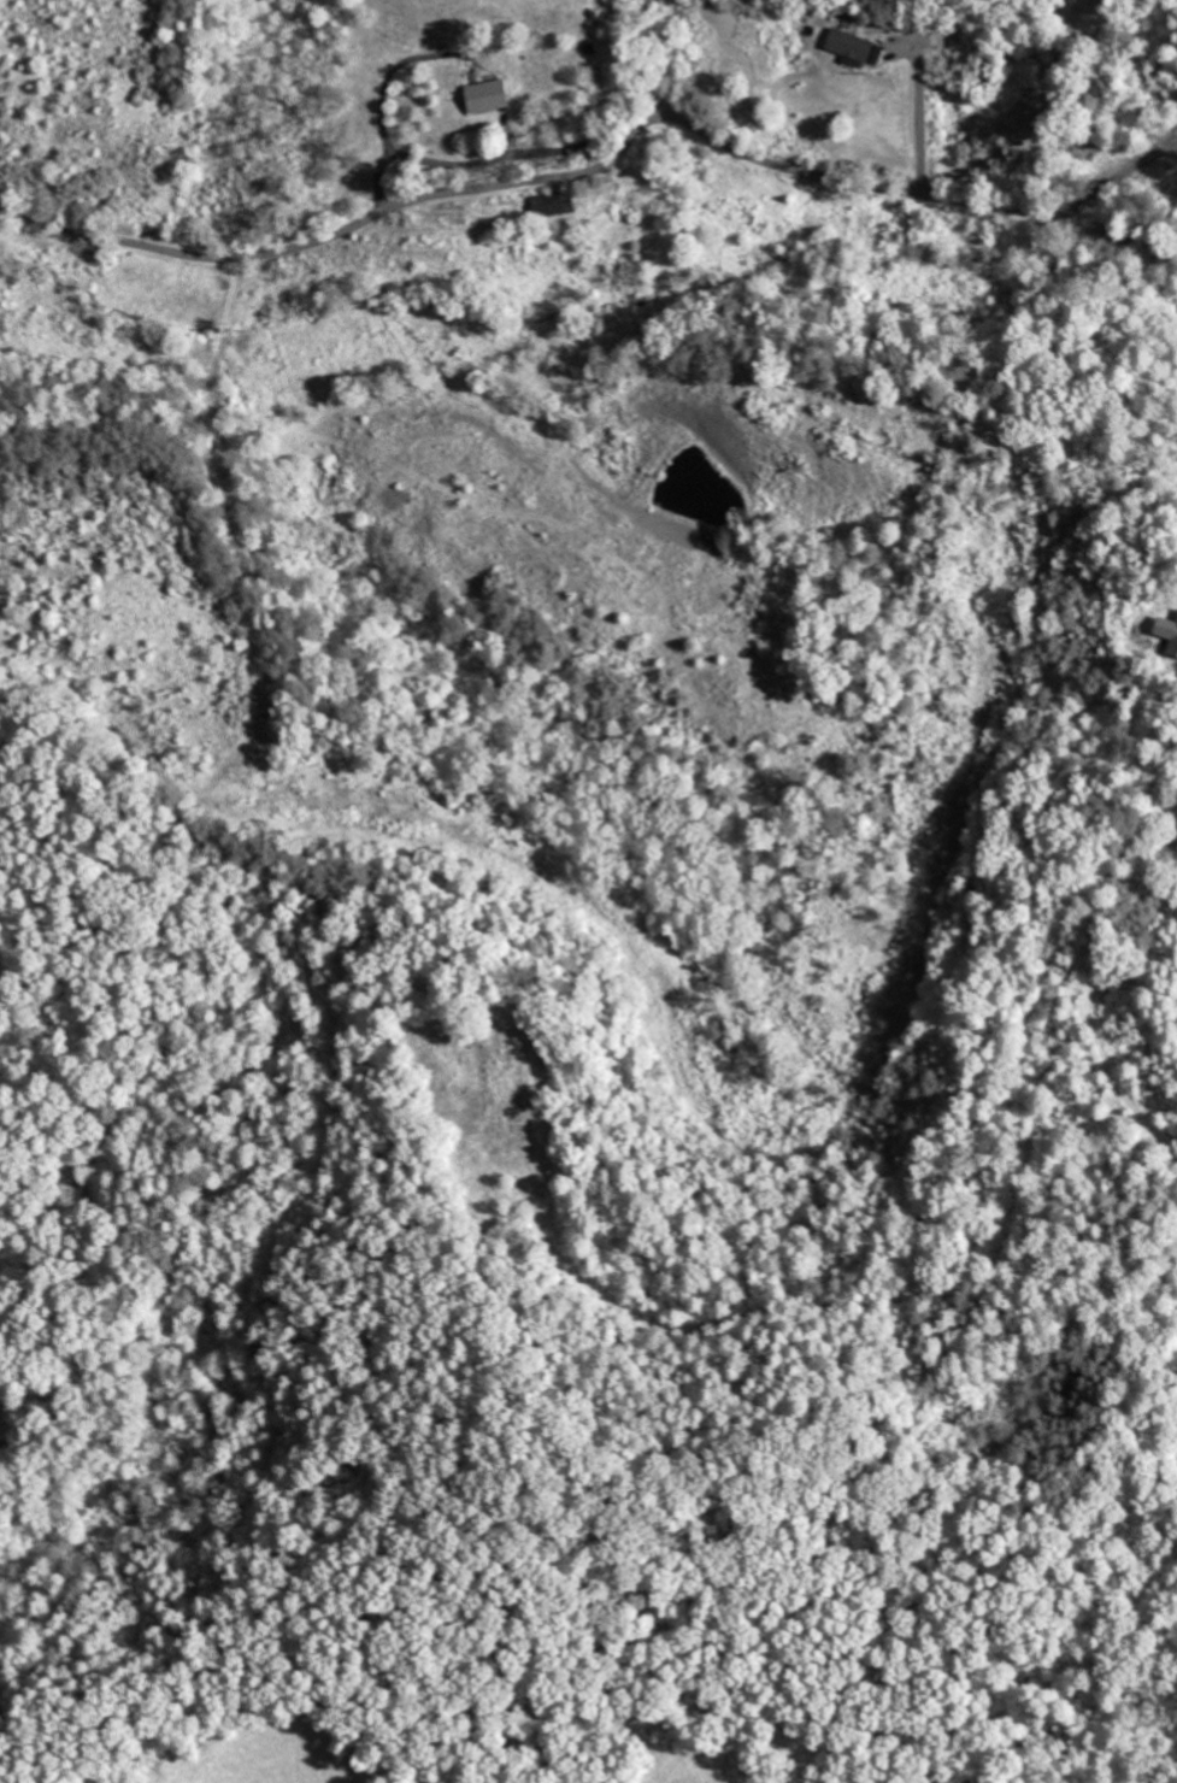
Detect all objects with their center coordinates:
building: (857, 45)
building: (494, 95)
road: (599, 166)
building: (1172, 629)

